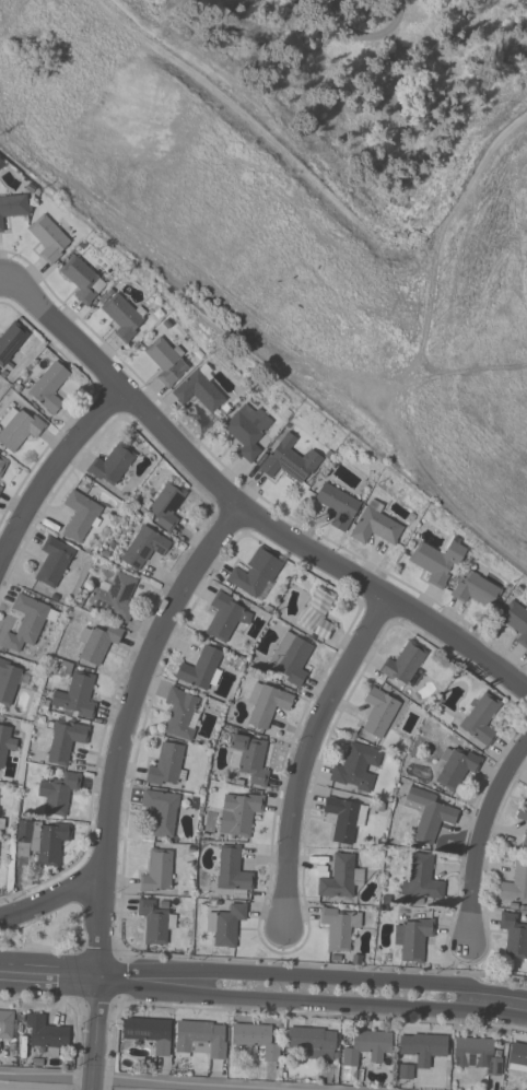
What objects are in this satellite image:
road: (440, 11)
road: (365, 36)
road: (324, 185)
building: (13, 207)
building: (48, 238)
building: (82, 279)
road: (10, 289)
building: (122, 315)
building: (10, 341)
building: (166, 360)
building: (49, 386)
building: (198, 390)
building: (17, 427)
building: (247, 429)
building: (288, 459)
building: (2, 464)
building: (112, 464)
road: (51, 472)
building: (0, 488)
building: (336, 504)
building: (164, 505)
building: (80, 515)
road: (253, 518)
building: (375, 525)
building: (144, 547)
building: (438, 560)
building: (54, 561)
building: (257, 573)
building: (476, 589)
building: (115, 596)
building: (316, 612)
building: (225, 616)
building: (516, 620)
building: (27, 621)
building: (97, 641)
building: (290, 657)
building: (405, 664)
building: (60, 665)
building: (200, 667)
building: (9, 681)
building: (77, 695)
building: (266, 703)
building: (380, 712)
building: (179, 713)
building: (478, 719)
building: (65, 739)
building: (5, 742)
road: (305, 755)
building: (248, 757)
building: (166, 765)
building: (356, 765)
building: (454, 766)
road: (114, 782)
building: (58, 793)
building: (161, 810)
building: (522, 811)
building: (241, 812)
building: (428, 812)
building: (343, 818)
road: (480, 837)
building: (42, 840)
building: (525, 840)
building: (156, 870)
building: (233, 871)
building: (340, 877)
building: (422, 878)
building: (515, 882)
road: (51, 902)
building: (154, 922)
building: (227, 924)
building: (339, 926)
building: (514, 935)
building: (412, 938)
road: (49, 974)
road: (313, 976)
road: (312, 1001)
building: (5, 1023)
building: (149, 1031)
building: (46, 1033)
building: (200, 1038)
building: (256, 1039)
building: (313, 1041)
building: (423, 1046)
building: (364, 1050)
building: (477, 1054)
building: (517, 1056)
building: (406, 1070)
road: (148, 1080)
road: (90, 1088)

